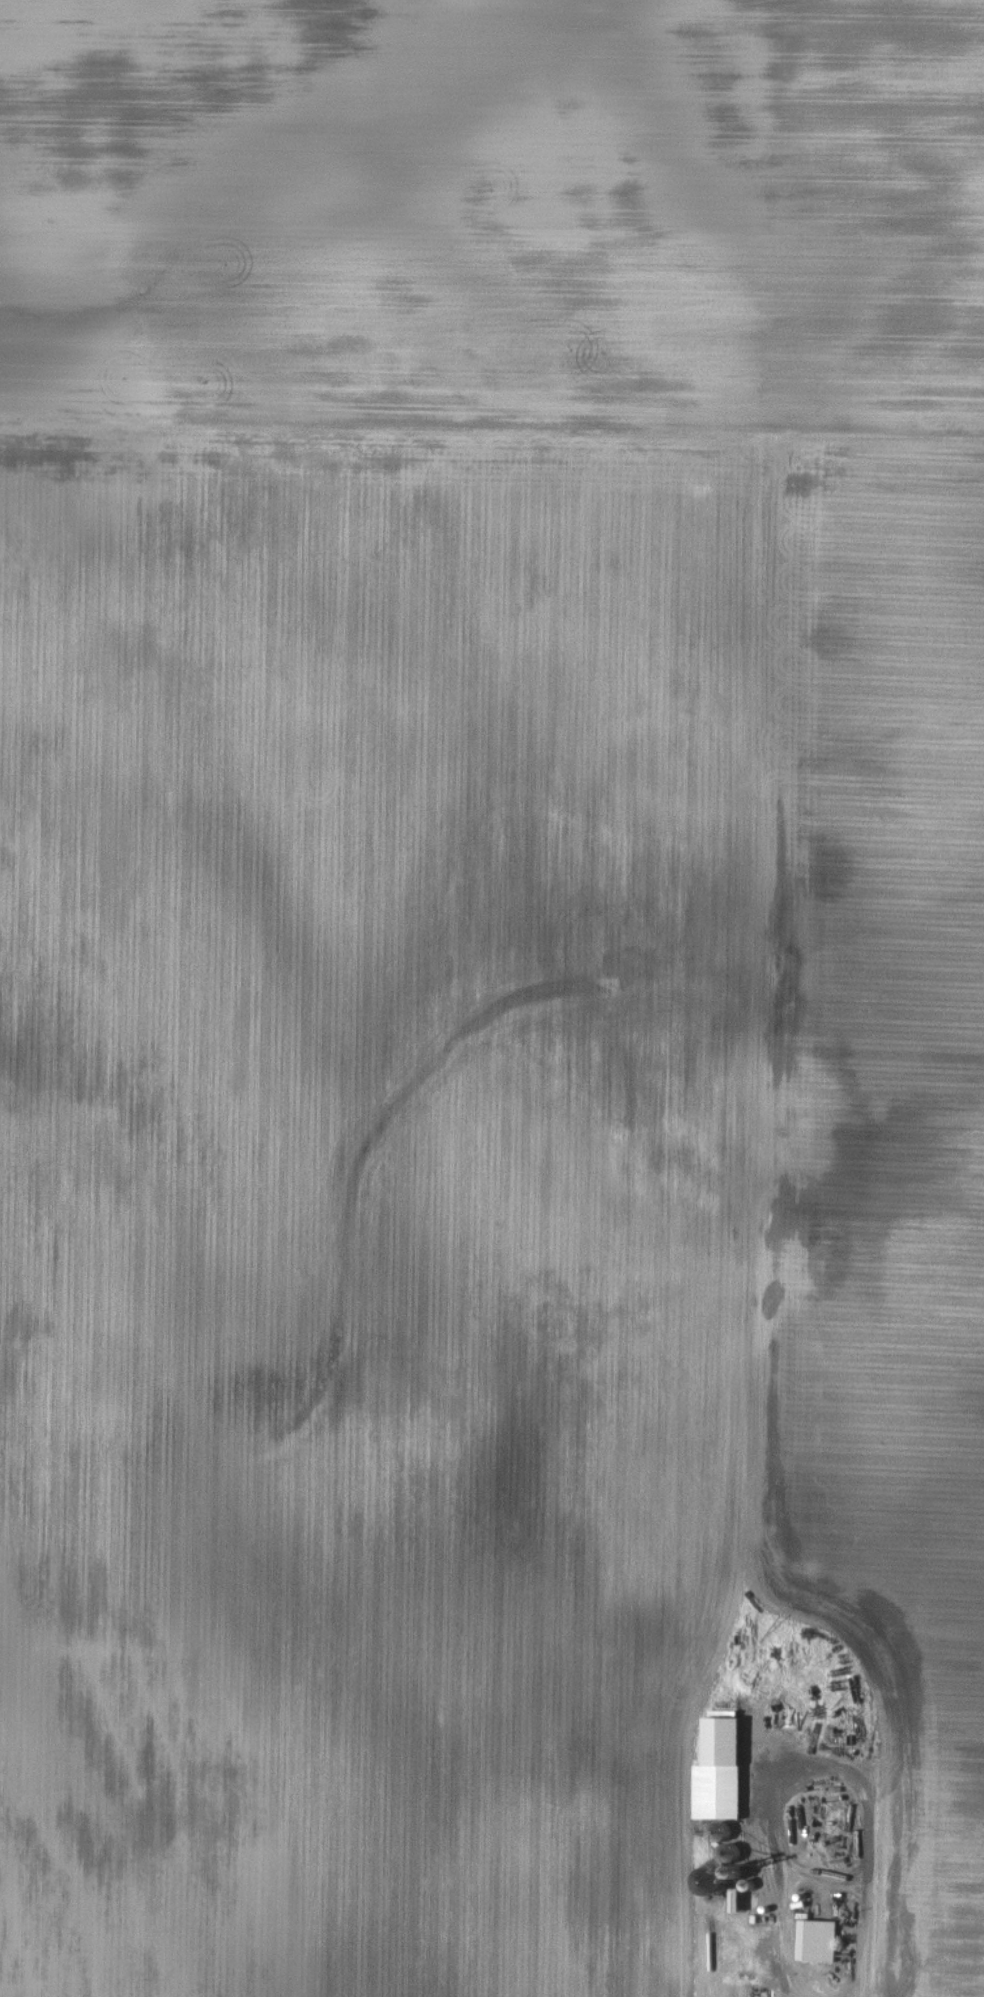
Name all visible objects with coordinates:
road: (816, 1765)
building: (820, 1939)
road: (790, 1976)

